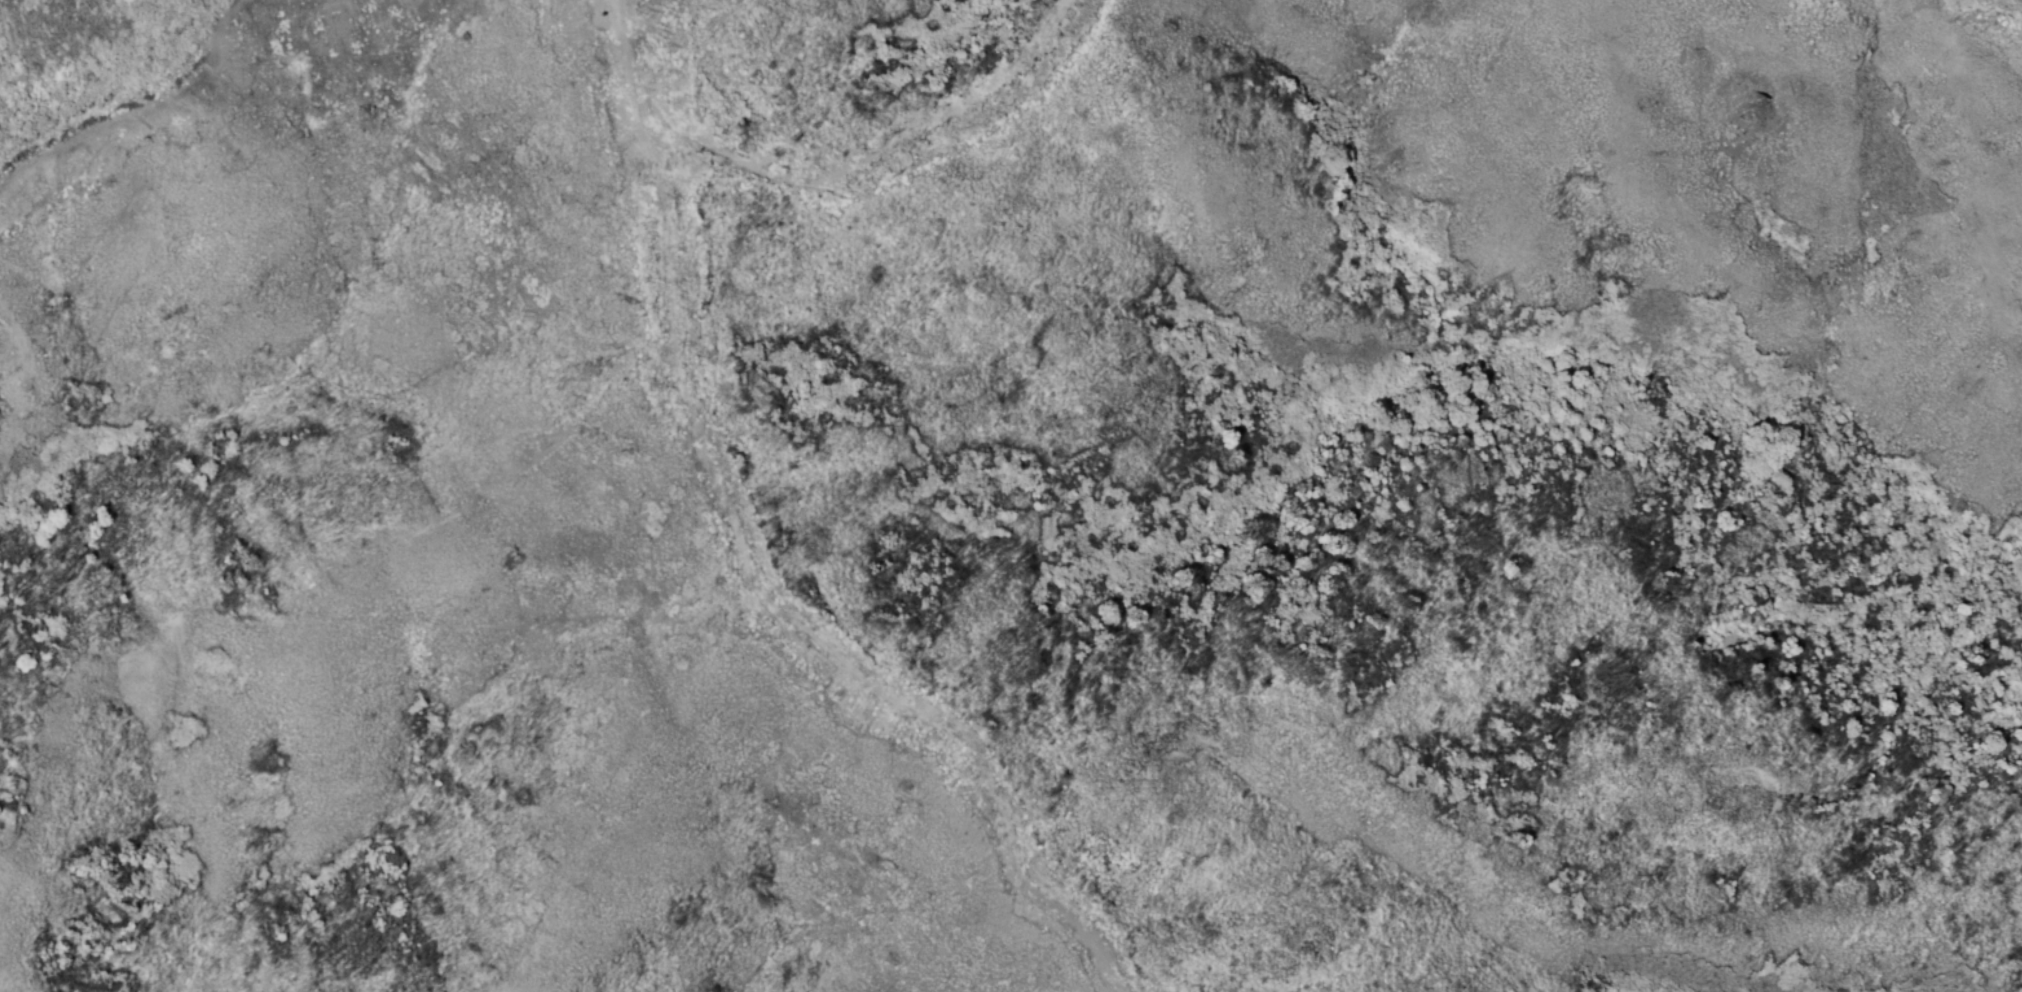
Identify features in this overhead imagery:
road: (19, 344)
road: (752, 567)

